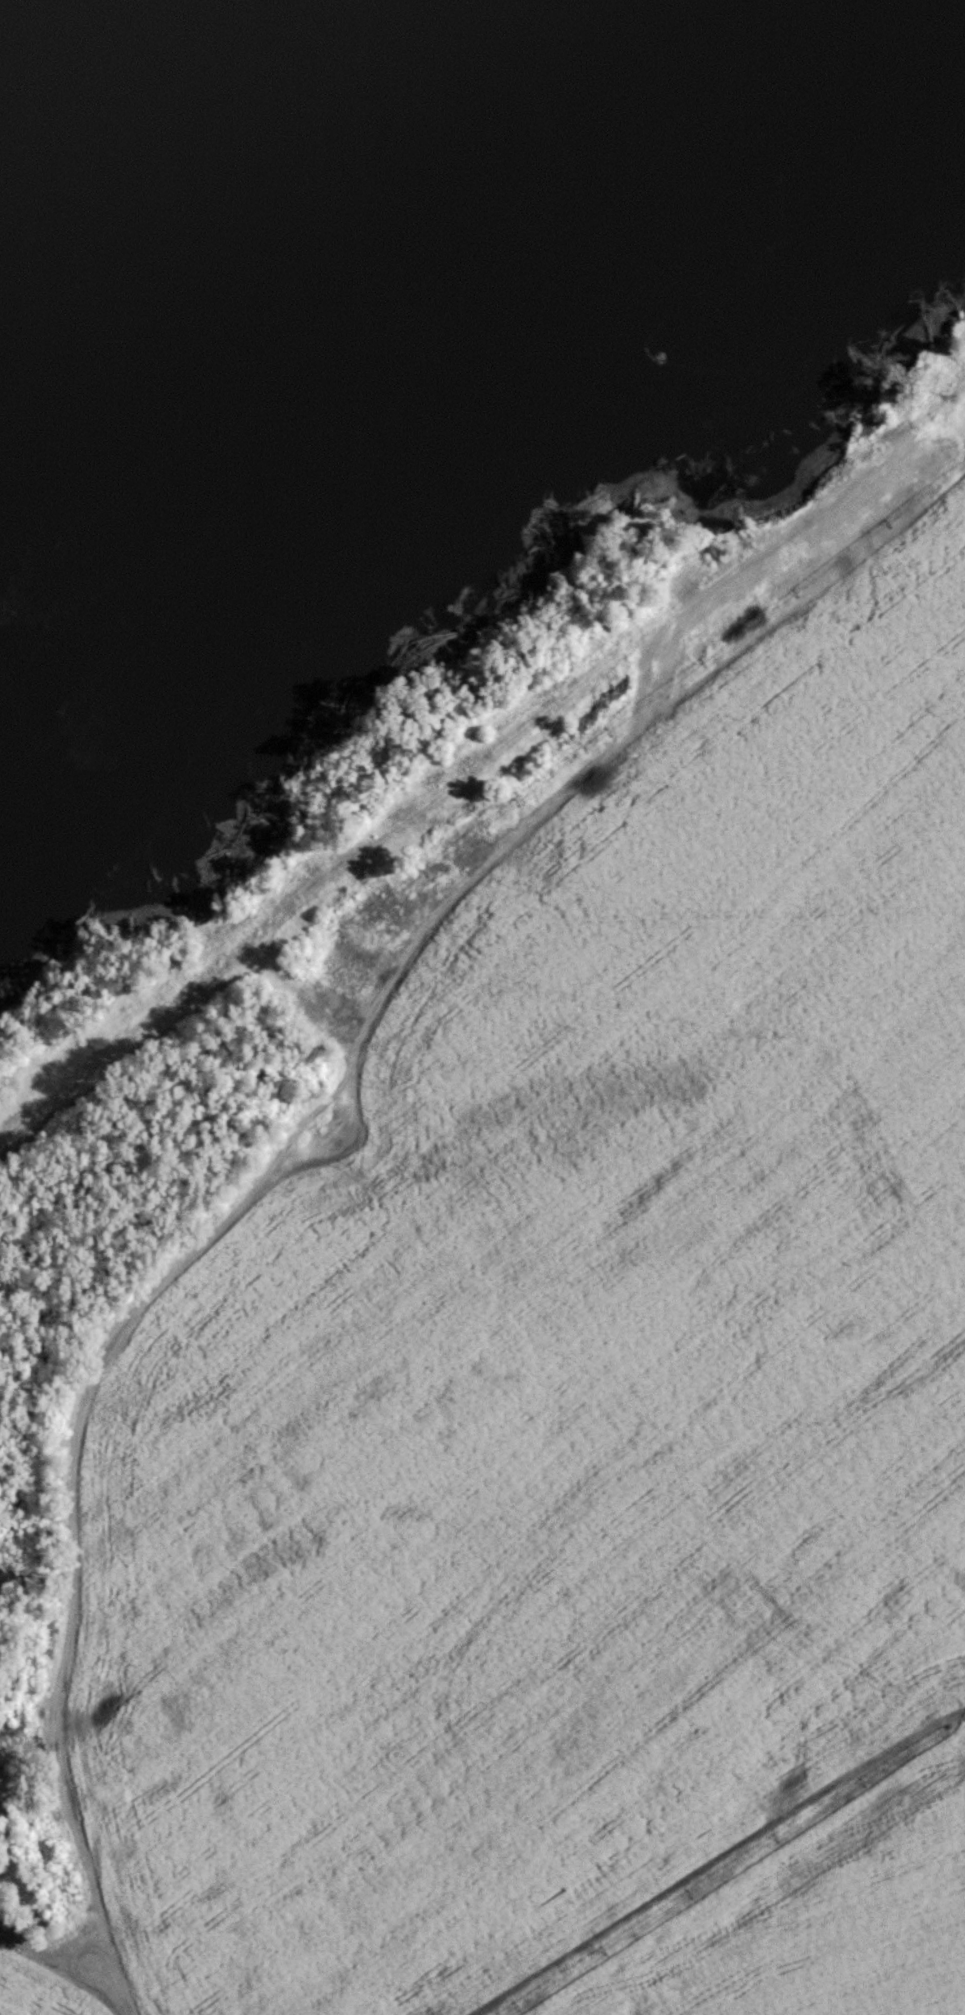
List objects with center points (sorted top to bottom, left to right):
river: (255, 161)

